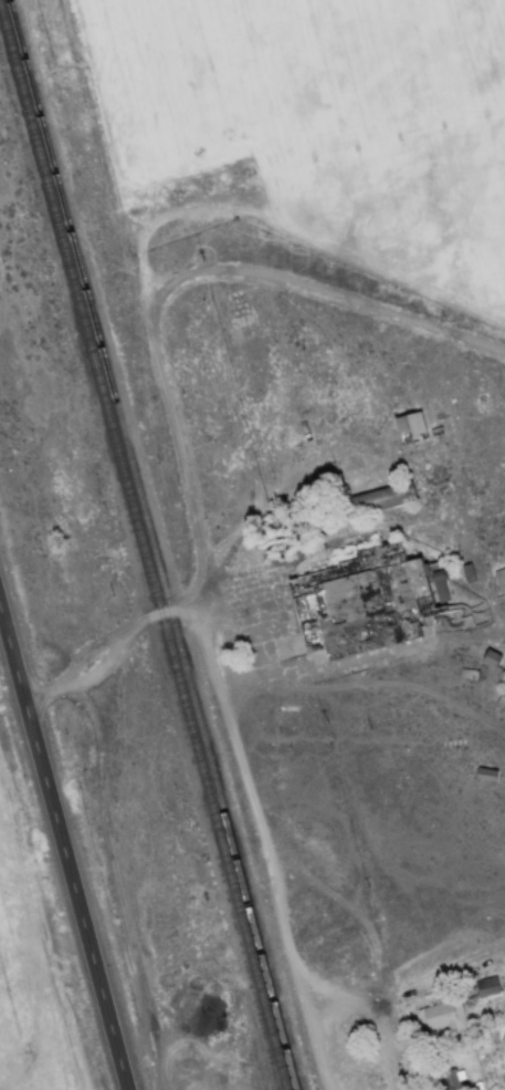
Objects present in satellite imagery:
road: (178, 281)
building: (408, 427)
building: (378, 498)
railway: (151, 544)
railway: (141, 552)
building: (501, 581)
building: (365, 601)
road: (138, 627)
road: (257, 847)
road: (63, 859)
road: (359, 1011)
building: (440, 1016)

